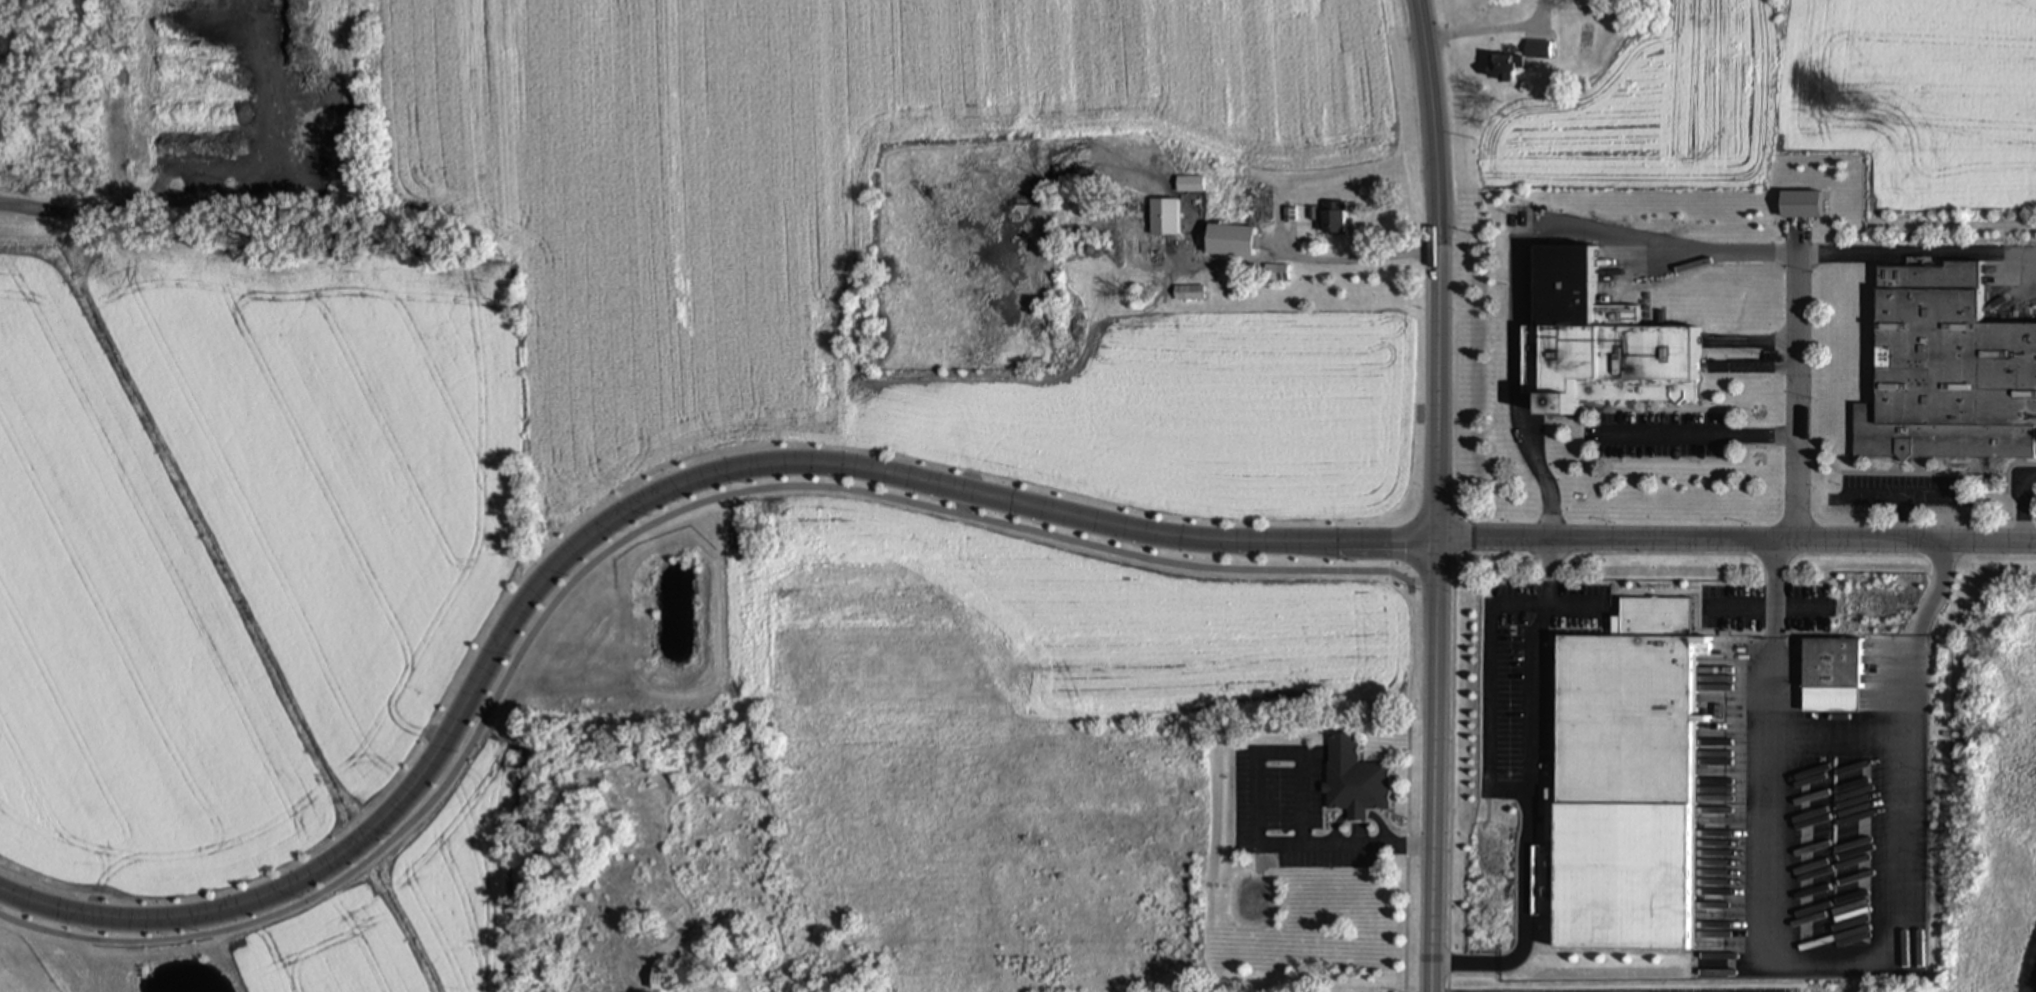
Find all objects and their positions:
road: (1493, 29)
building: (1537, 52)
building: (1500, 68)
road: (1439, 123)
crop: (1649, 141)
road: (165, 204)
building: (1263, 206)
building: (1167, 210)
building: (1334, 224)
road: (1810, 247)
road: (1314, 259)
building: (1188, 294)
building: (1610, 364)
building: (1946, 372)
road: (1518, 381)
road: (1797, 394)
road: (1700, 438)
road: (1873, 493)
road: (1907, 493)
road: (2021, 502)
road: (634, 506)
road: (618, 535)
road: (1739, 542)
road: (1433, 565)
road: (1773, 589)
road: (1936, 591)
road: (1550, 597)
road: (1441, 620)
crop: (1050, 629)
building: (1831, 665)
building: (1354, 779)
road: (1460, 779)
road: (1487, 781)
building: (1625, 783)
park: (463, 790)
road: (1251, 823)
road: (1522, 914)
road: (1834, 960)
building: (660, 979)

